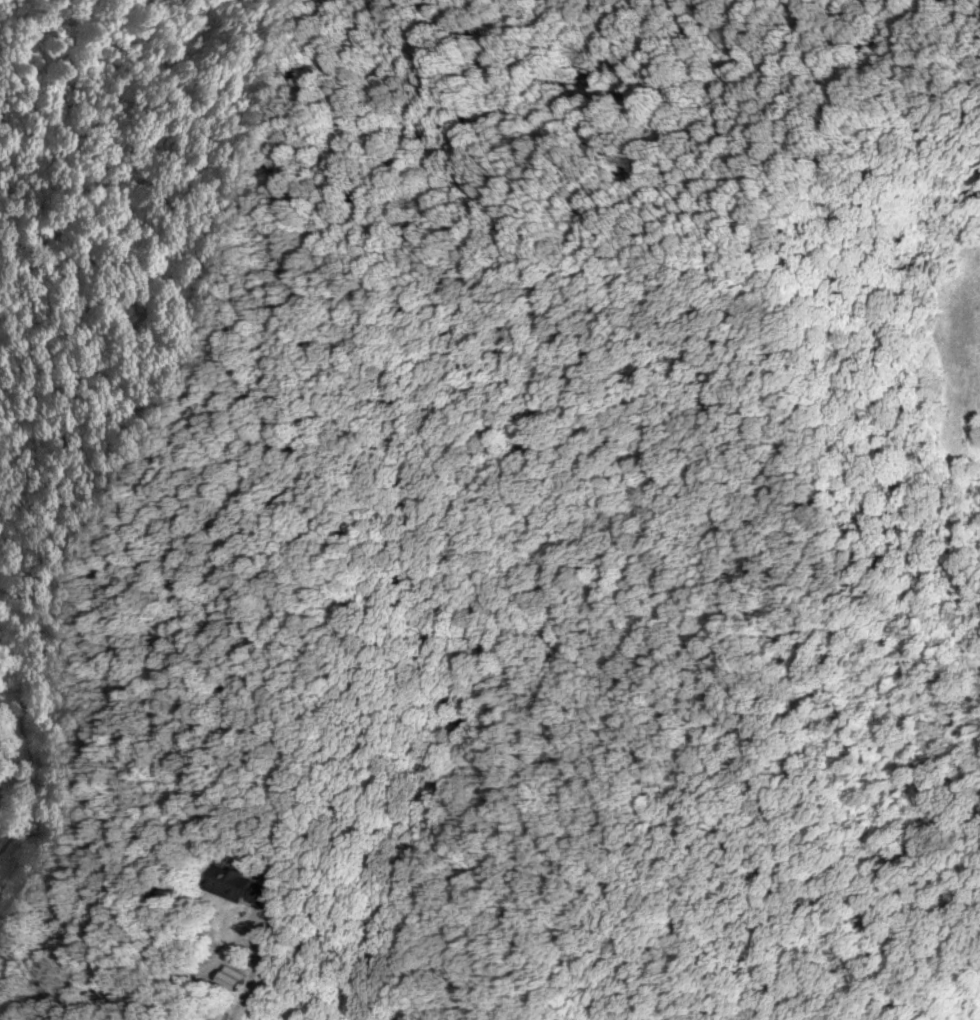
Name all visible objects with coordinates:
river: (5, 754)
building: (246, 886)

